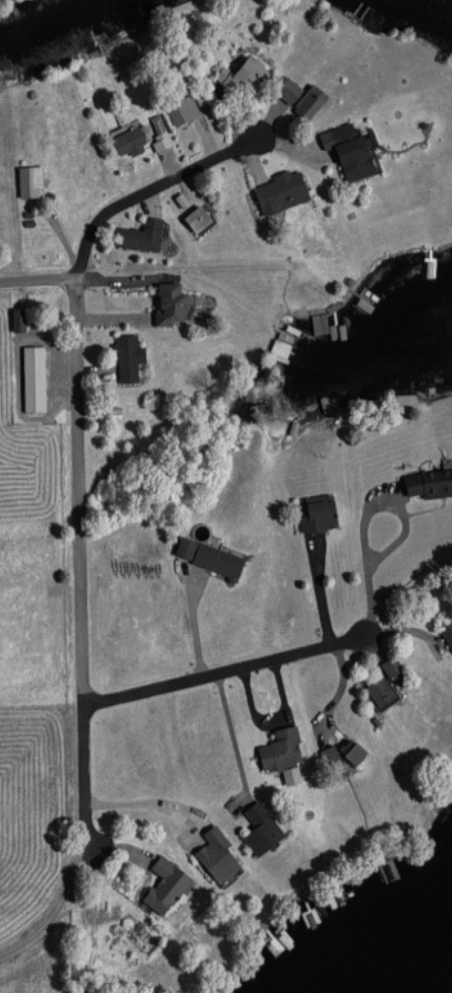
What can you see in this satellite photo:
building: (242, 76)
building: (298, 98)
building: (180, 110)
building: (157, 135)
building: (126, 142)
building: (348, 152)
building: (26, 186)
road: (146, 192)
building: (277, 193)
building: (194, 219)
building: (139, 236)
road: (37, 281)
building: (167, 302)
building: (317, 323)
building: (125, 357)
building: (31, 377)
building: (427, 483)
road: (372, 508)
building: (314, 513)
road: (79, 553)
building: (205, 557)
road: (189, 626)
building: (445, 635)
road: (329, 654)
road: (262, 665)
building: (388, 666)
building: (377, 691)
road: (232, 740)
building: (278, 751)
building: (348, 752)
road: (153, 805)
building: (257, 829)
building: (218, 859)
building: (162, 885)
road: (52, 888)

